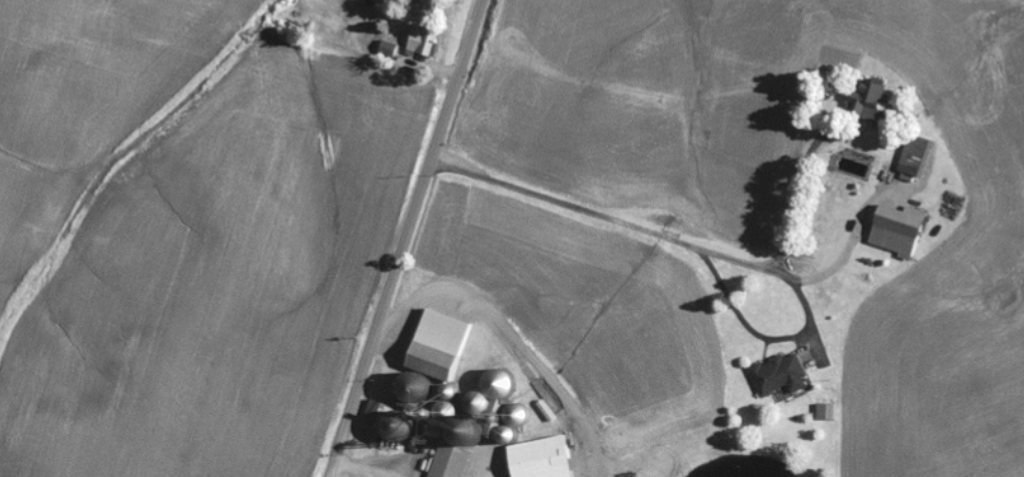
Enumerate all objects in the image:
building: (867, 103)
building: (893, 231)
road: (402, 238)
building: (426, 371)
building: (782, 375)
building: (549, 458)
building: (456, 461)

